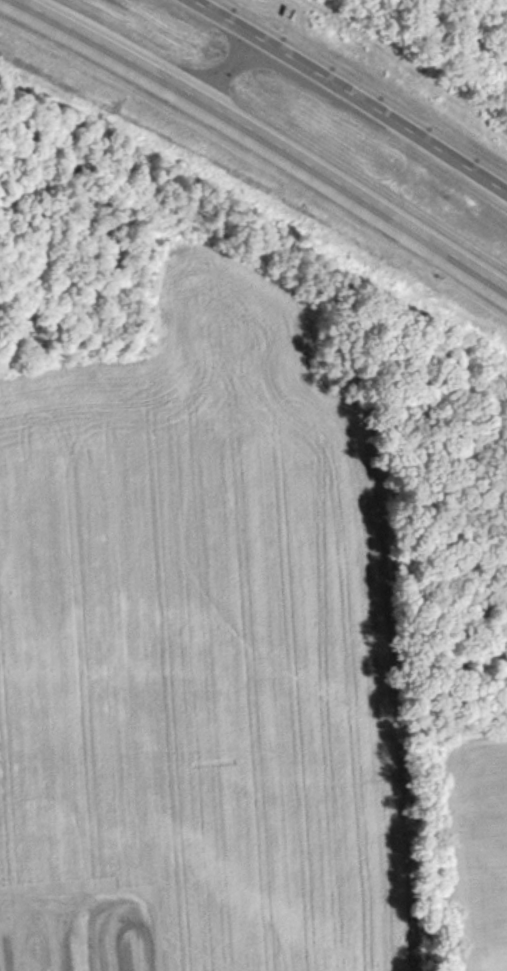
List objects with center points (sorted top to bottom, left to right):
road: (348, 96)
road: (262, 139)

